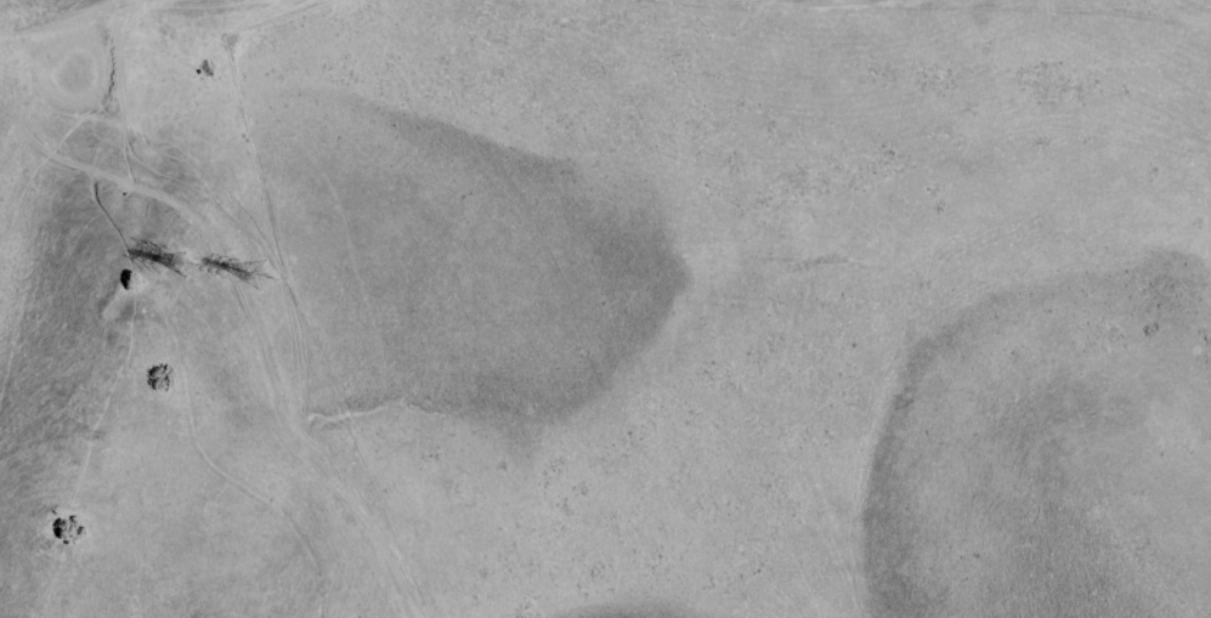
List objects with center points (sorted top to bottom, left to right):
road: (57, 22)
power tower: (261, 279)
power tower: (187, 283)
park: (605, 308)
road: (265, 314)

